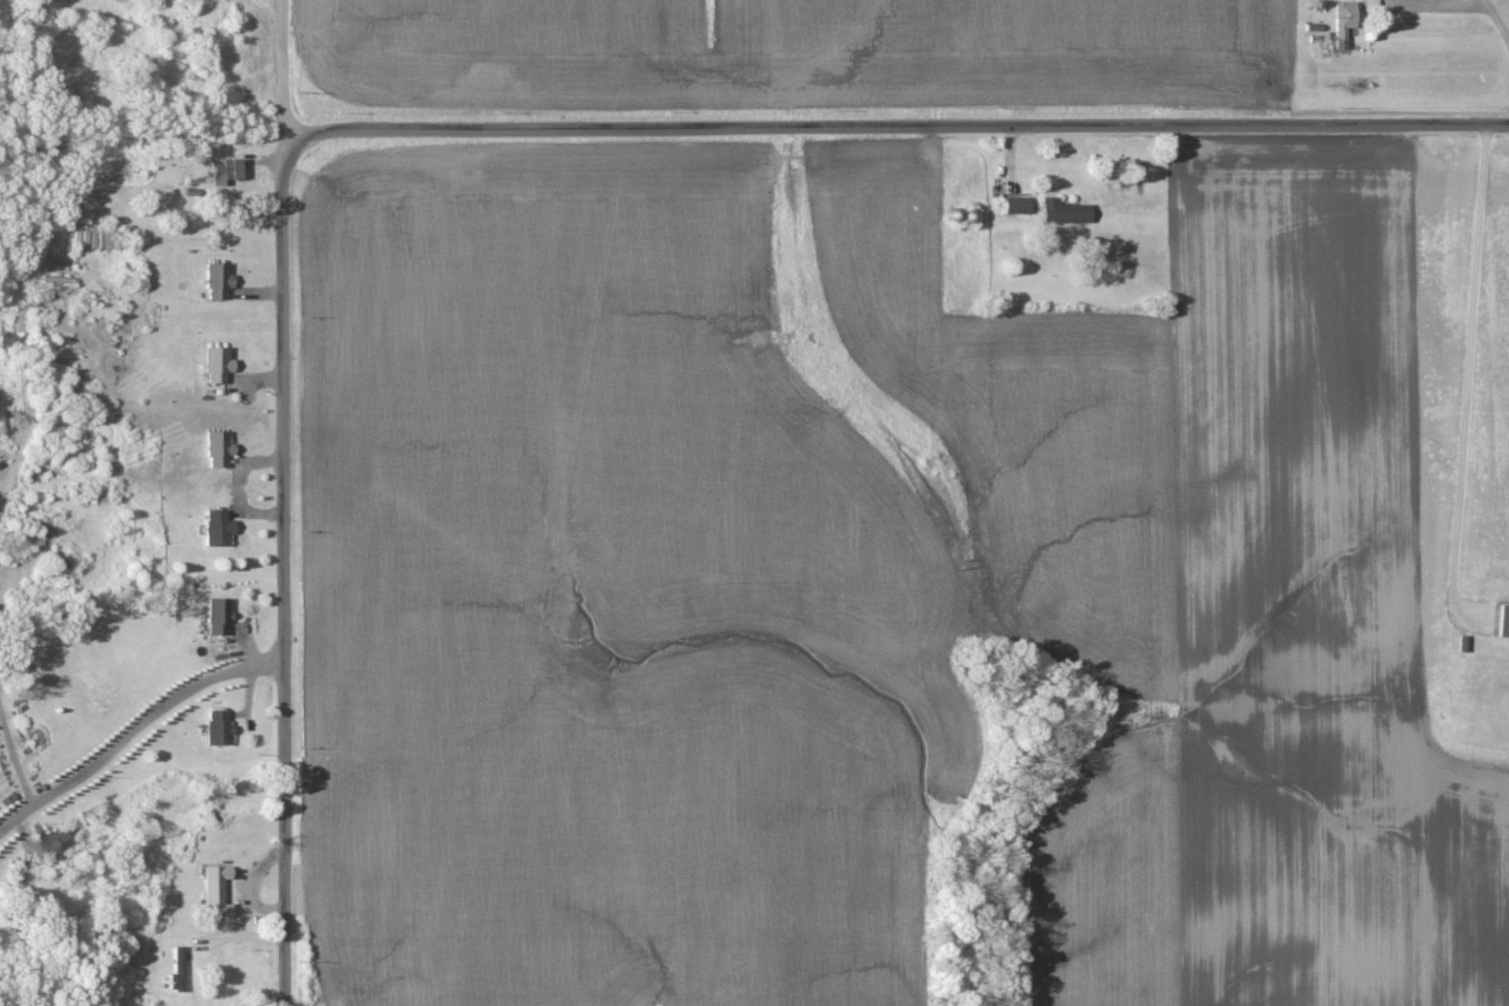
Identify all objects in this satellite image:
road: (1496, 20)
building: (1343, 24)
road: (896, 126)
building: (224, 174)
building: (1016, 207)
building: (1063, 214)
building: (953, 216)
building: (97, 237)
building: (217, 283)
building: (217, 366)
road: (1470, 367)
building: (217, 451)
road: (285, 502)
building: (217, 530)
building: (218, 618)
building: (1503, 623)
road: (135, 729)
building: (218, 730)
building: (215, 893)
building: (177, 973)

